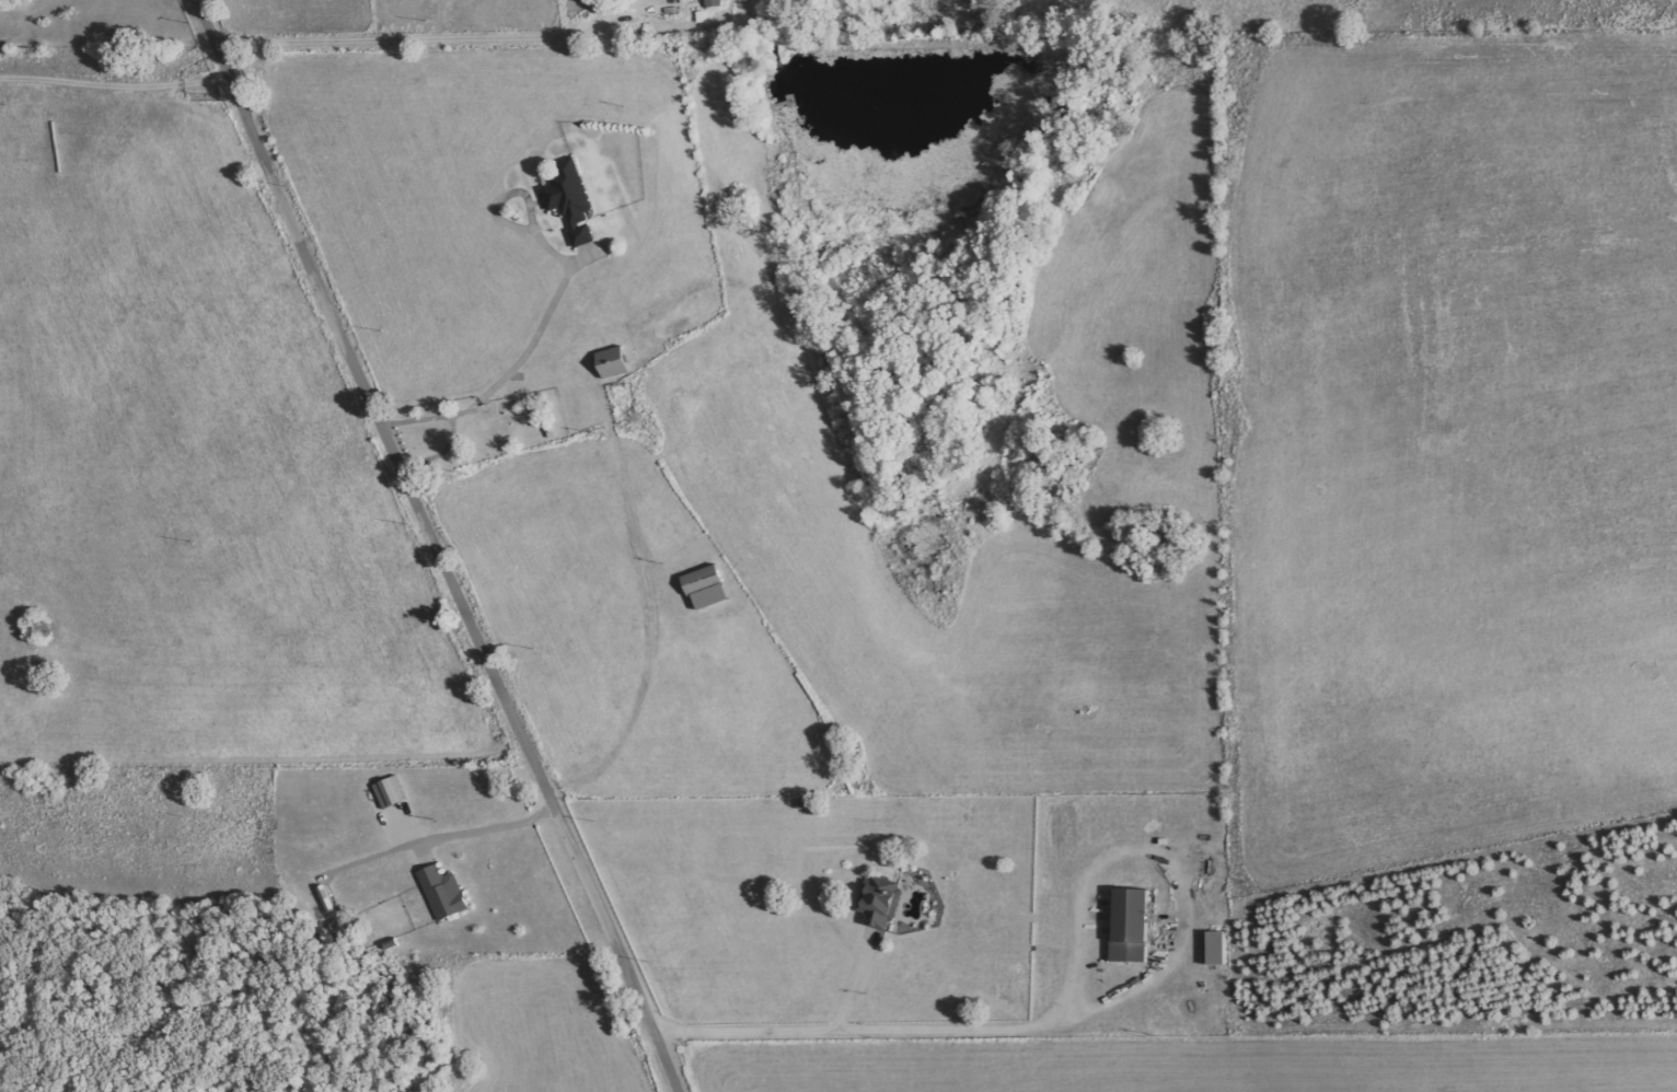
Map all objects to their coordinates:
building: (717, 3)
building: (571, 201)
building: (614, 363)
road: (435, 546)
building: (704, 580)
building: (713, 597)
building: (391, 792)
building: (444, 893)
building: (880, 905)
building: (1132, 925)
building: (1218, 948)

